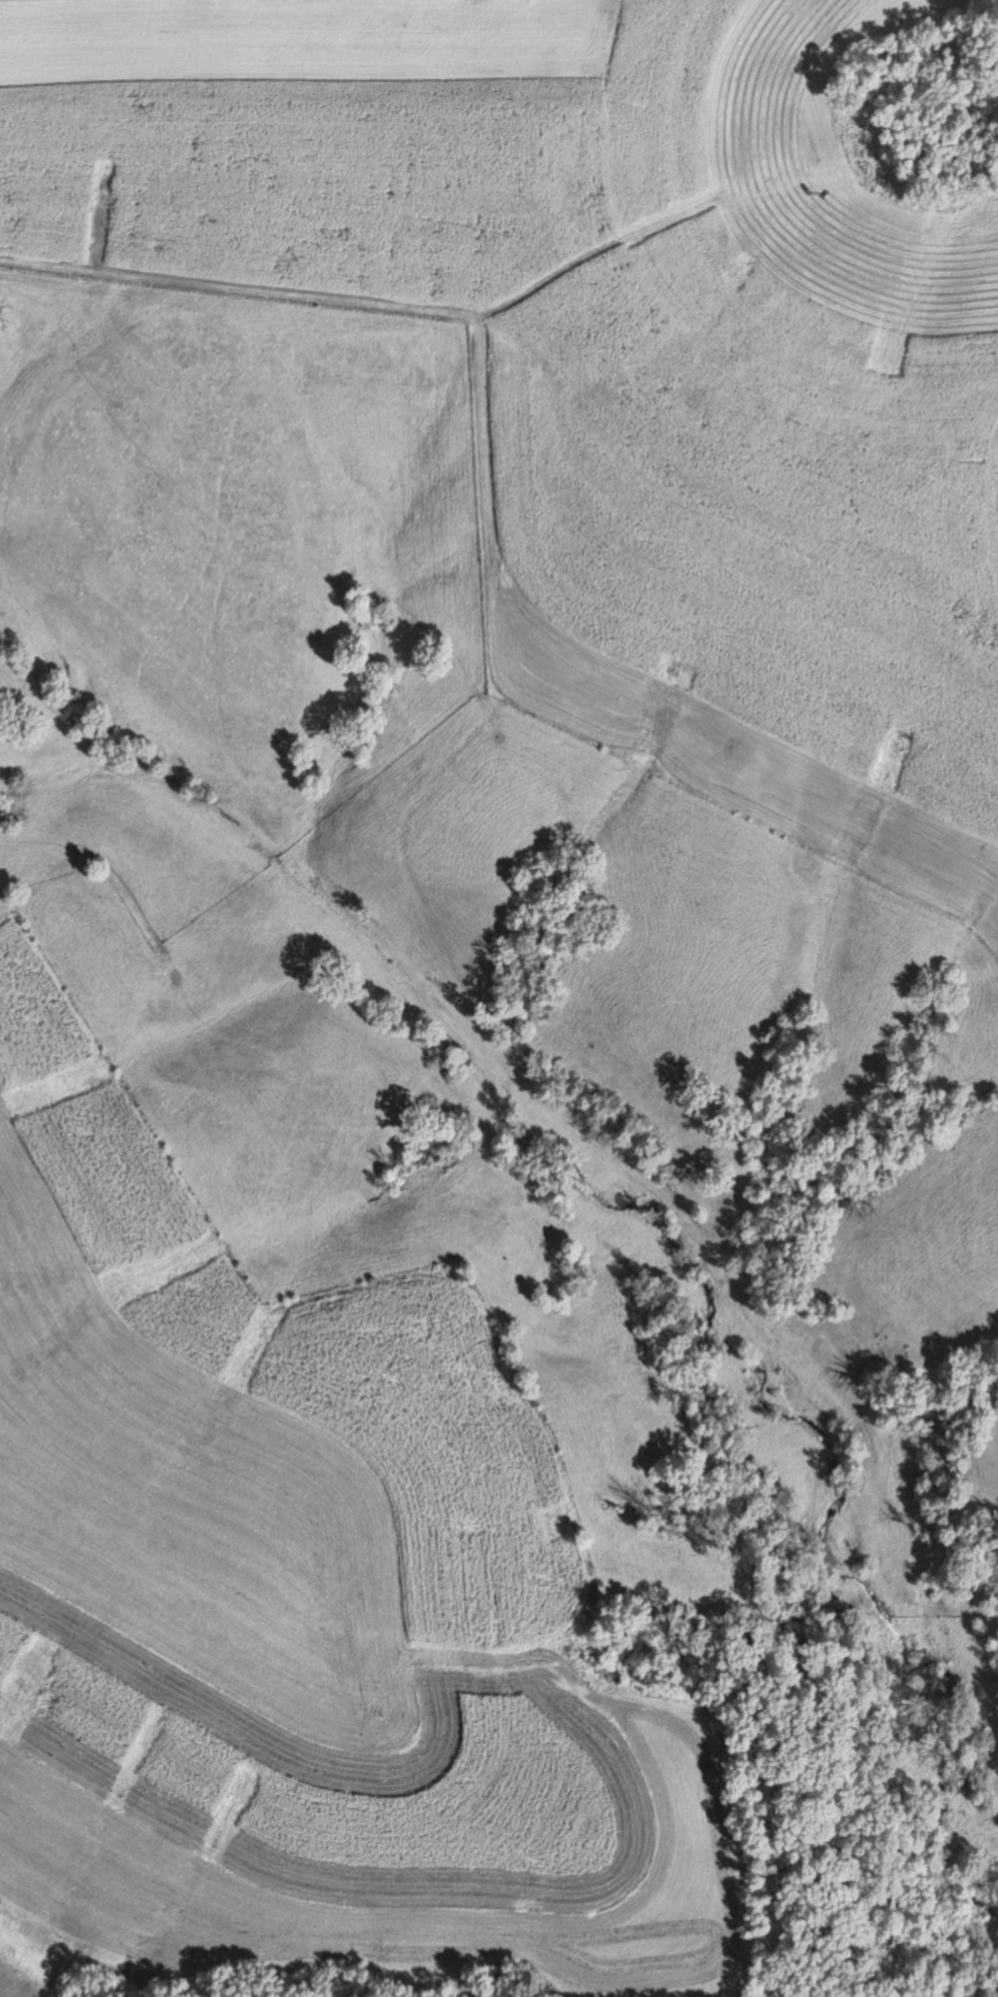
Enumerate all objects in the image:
road: (317, 850)

